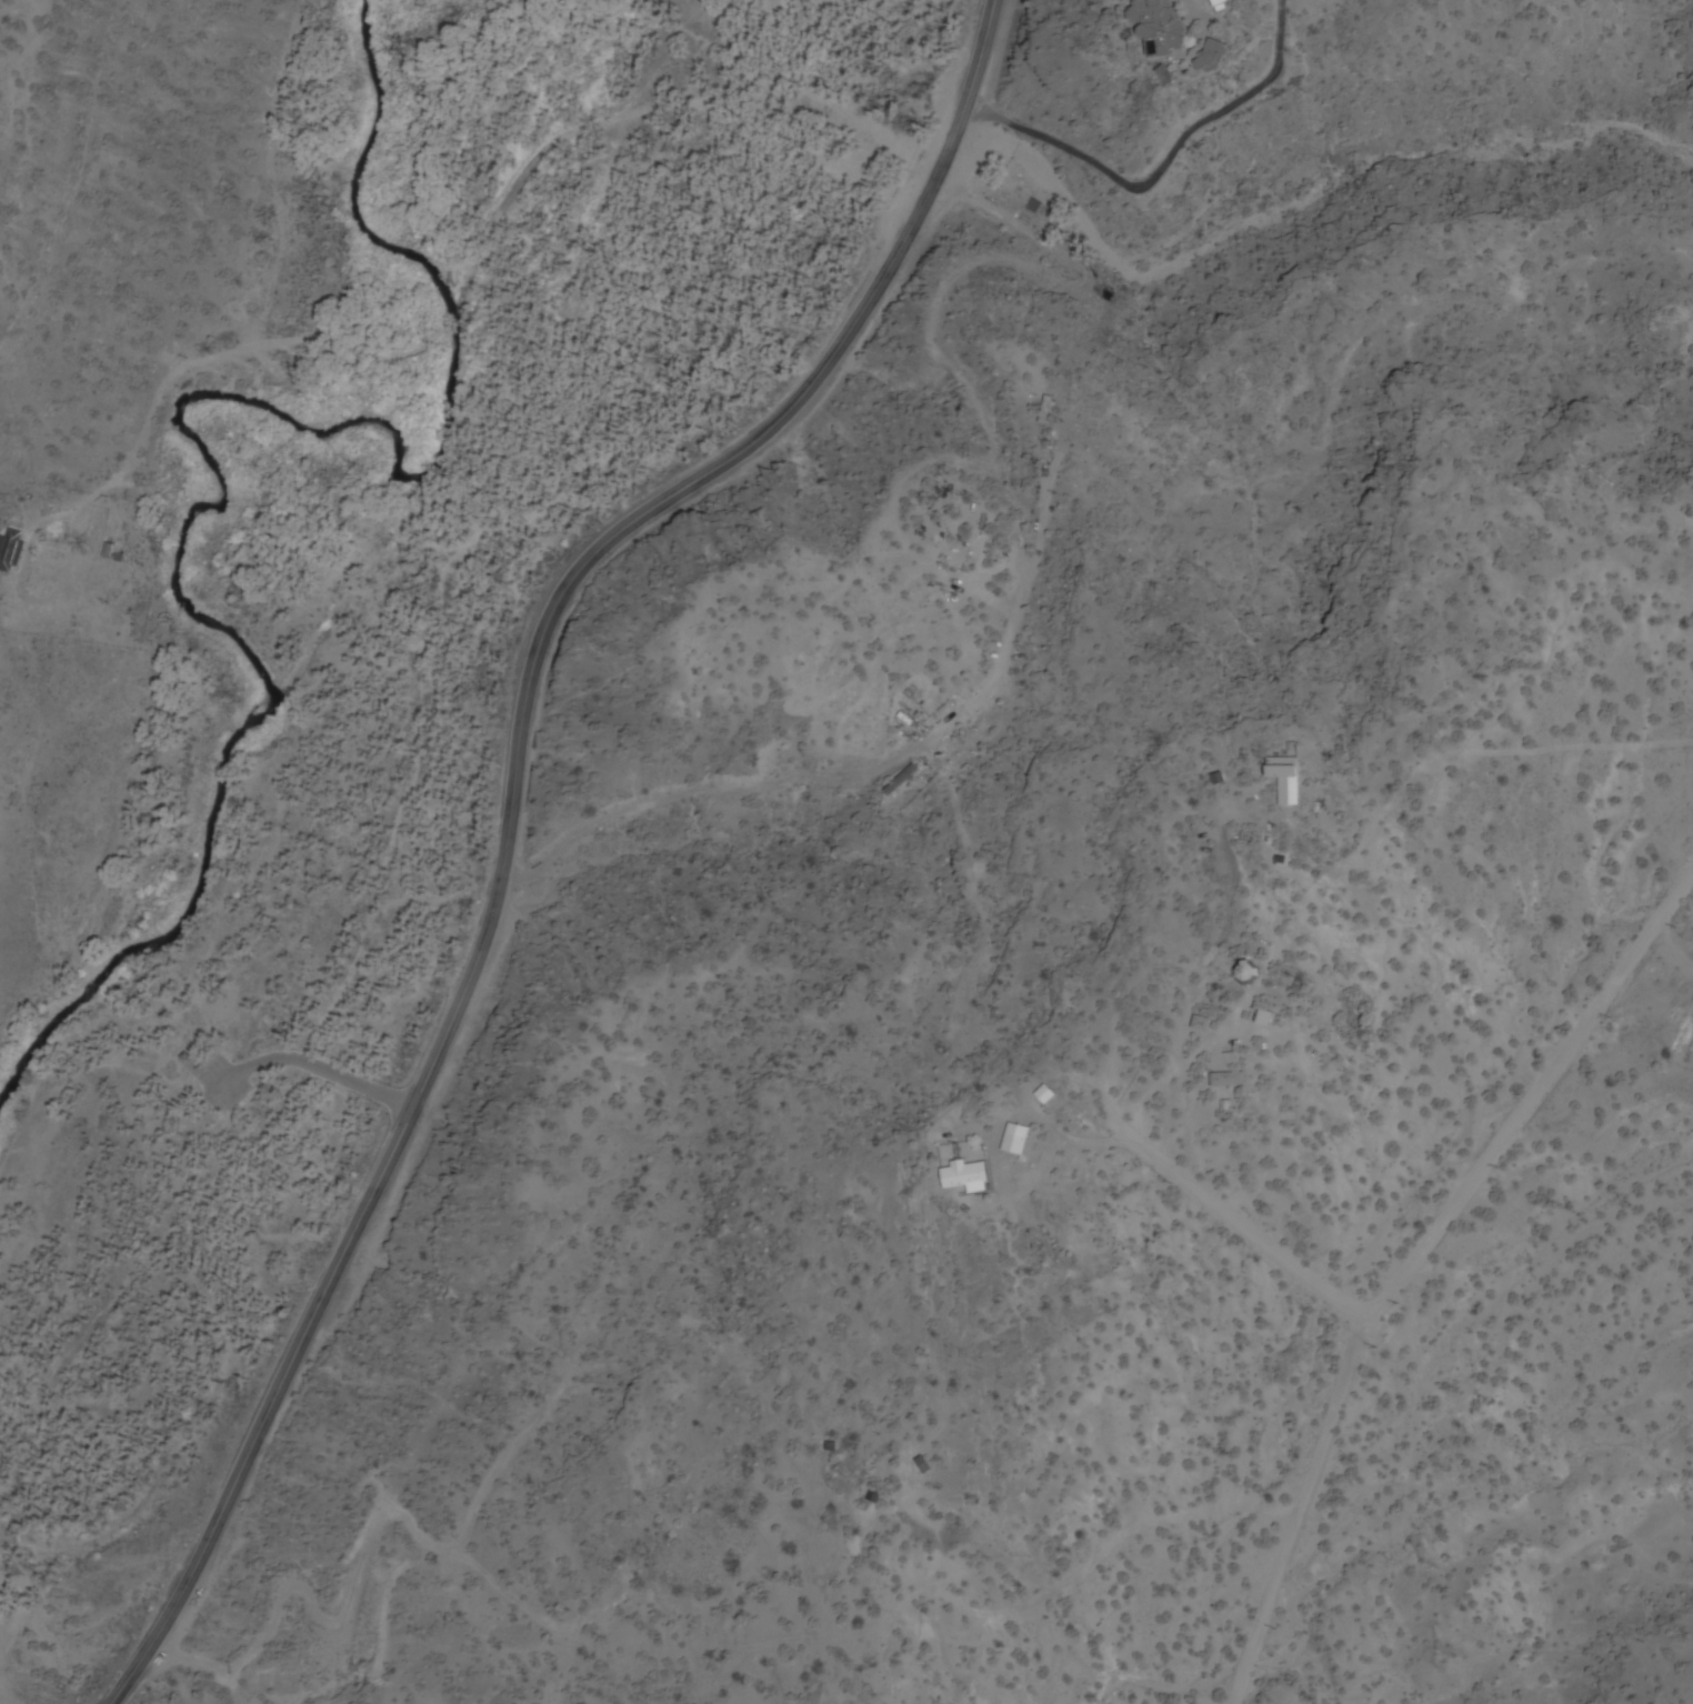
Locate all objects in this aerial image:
building: (1215, 4)
building: (1160, 26)
building: (1215, 57)
building: (1046, 410)
building: (1372, 475)
building: (11, 552)
road: (869, 764)
building: (1285, 770)
building: (903, 782)
road: (510, 810)
building: (1248, 974)
building: (1201, 1025)
building: (1228, 1081)
building: (1014, 1144)
building: (964, 1174)
road: (1241, 1225)
road: (1411, 1259)
building: (921, 1466)
building: (873, 1498)
road: (375, 1513)

